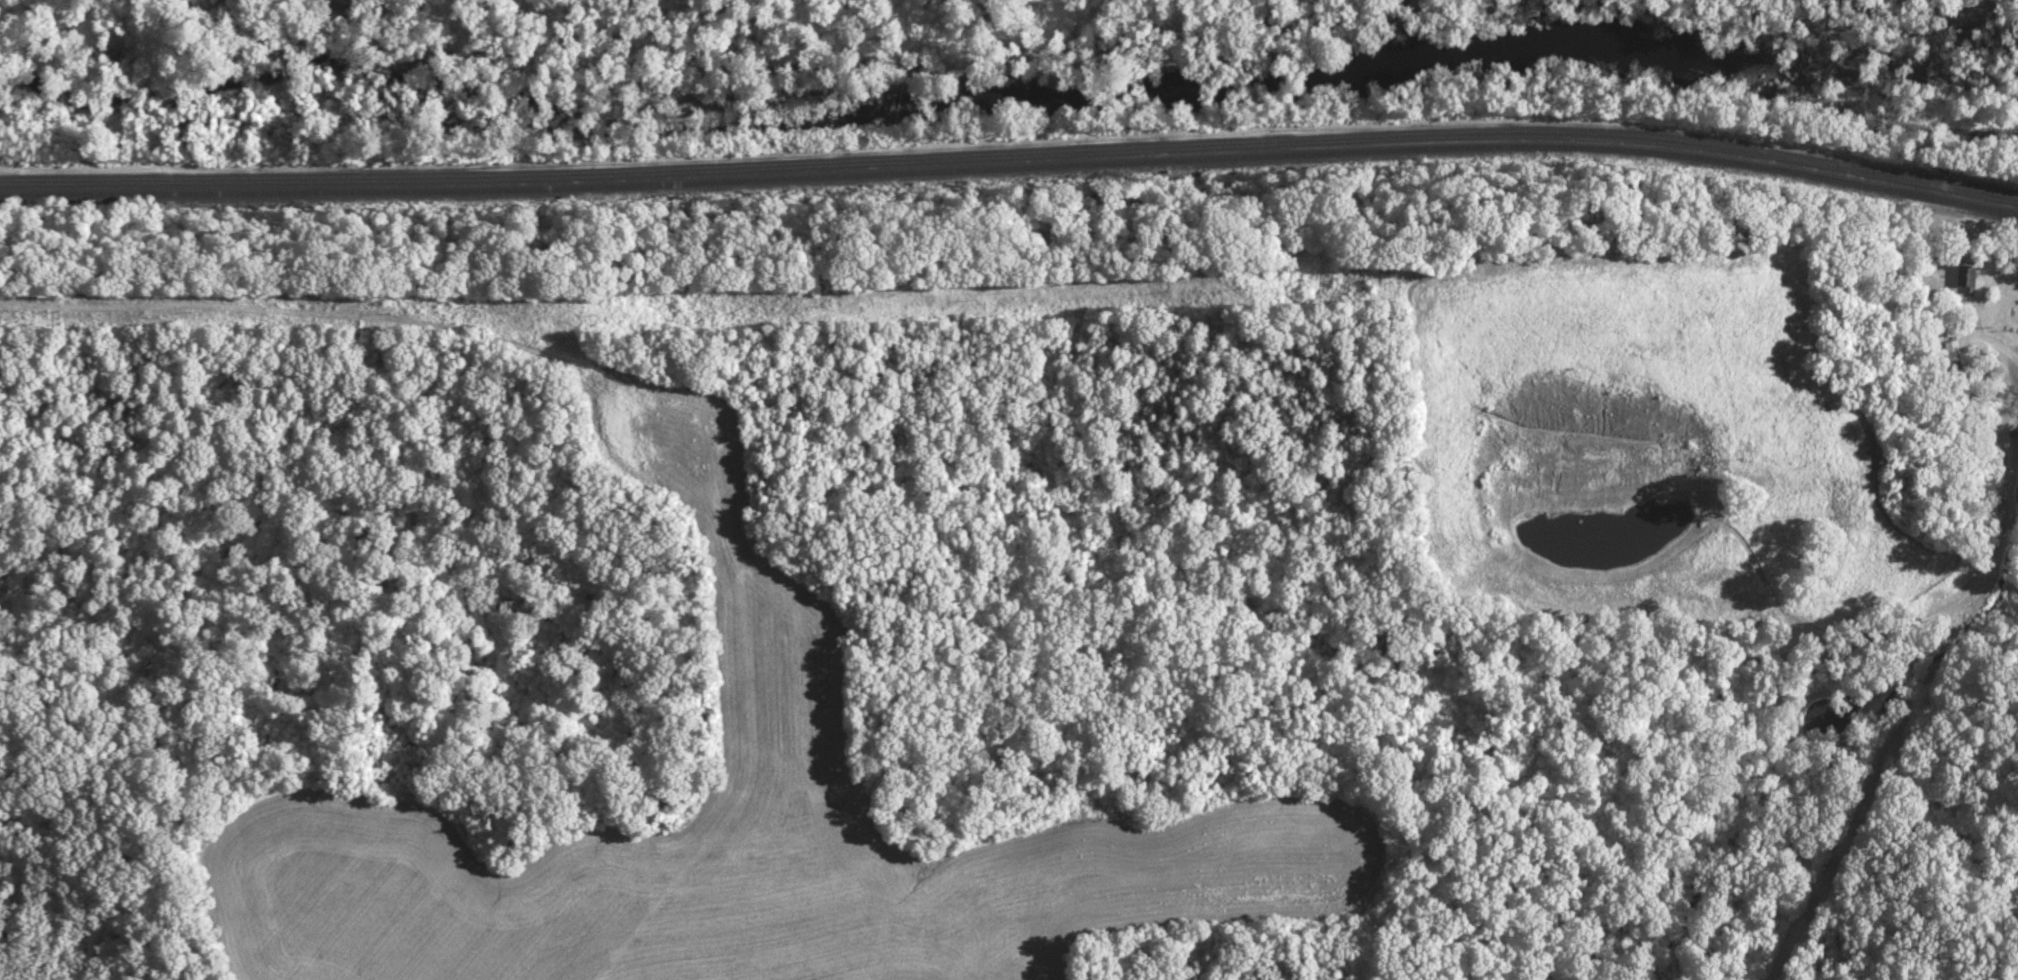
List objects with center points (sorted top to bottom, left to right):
railway: (1012, 153)
railway: (1012, 167)
building: (1963, 277)
road: (1996, 343)
building: (1950, 351)

